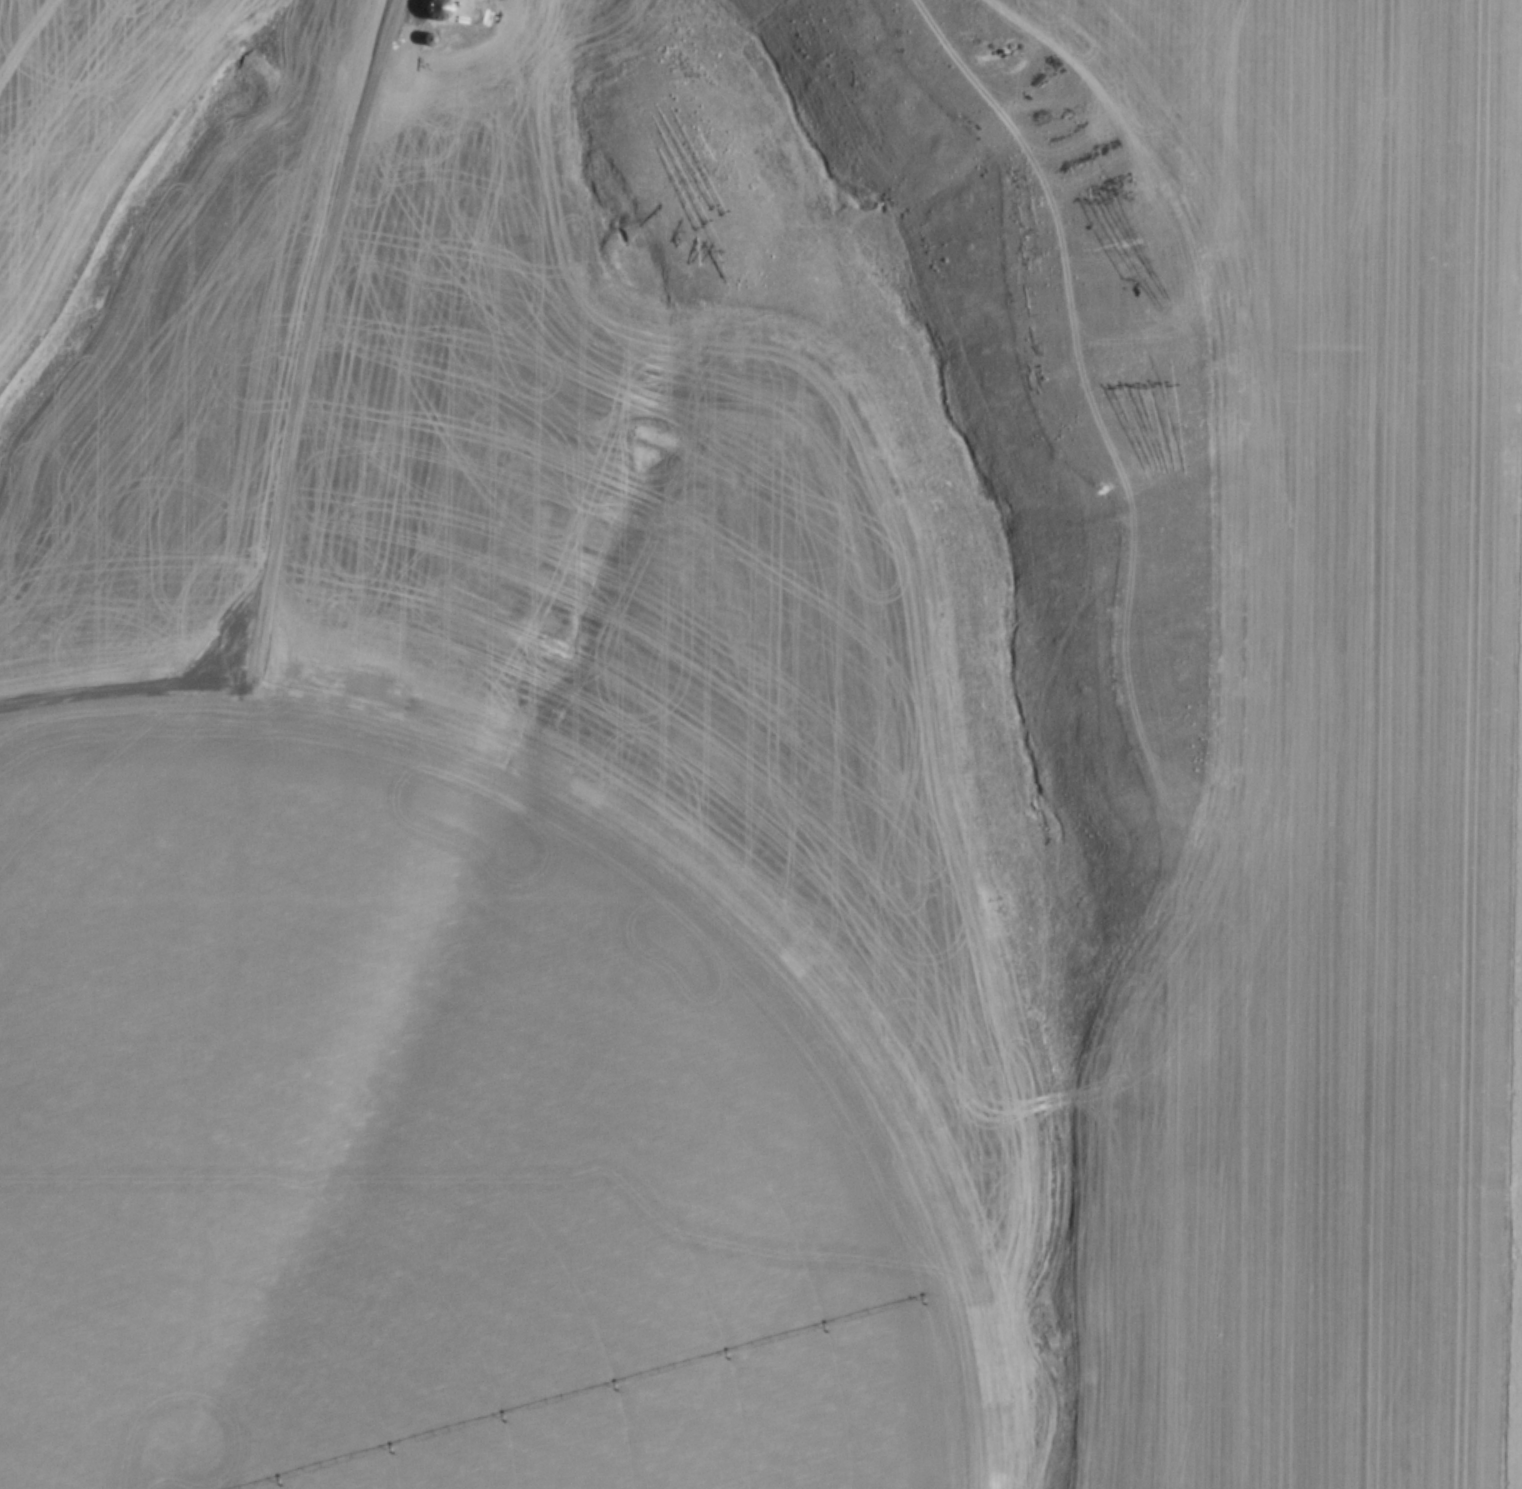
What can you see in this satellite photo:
building: (440, 9)
crop: (433, 1131)

